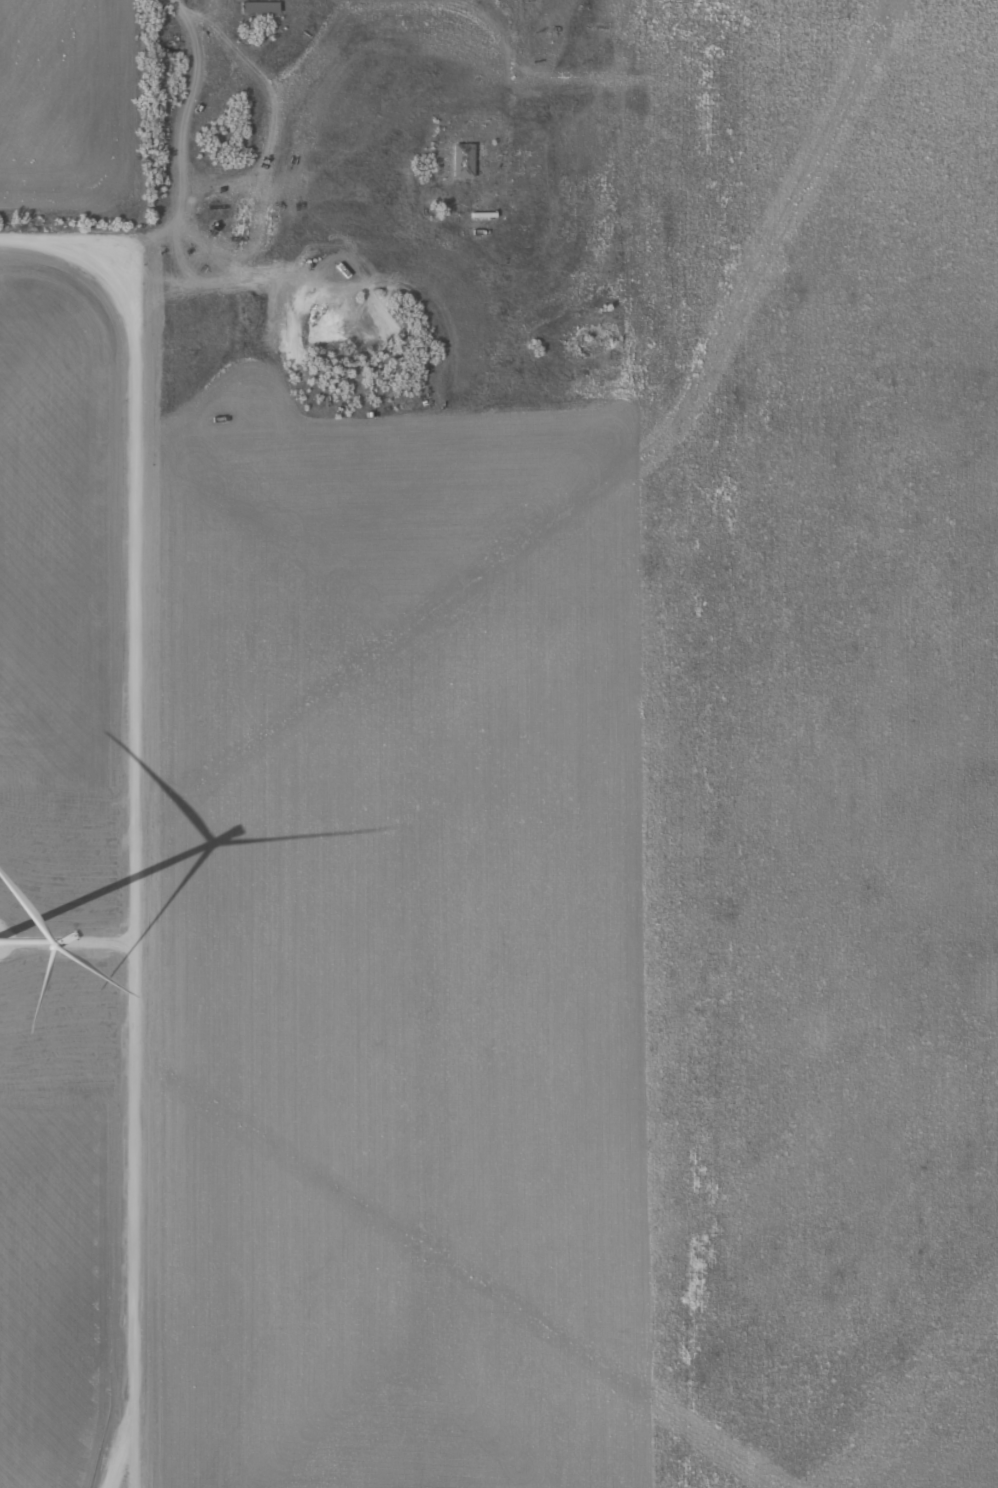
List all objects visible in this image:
building: (258, 7)
road: (487, 99)
building: (461, 160)

